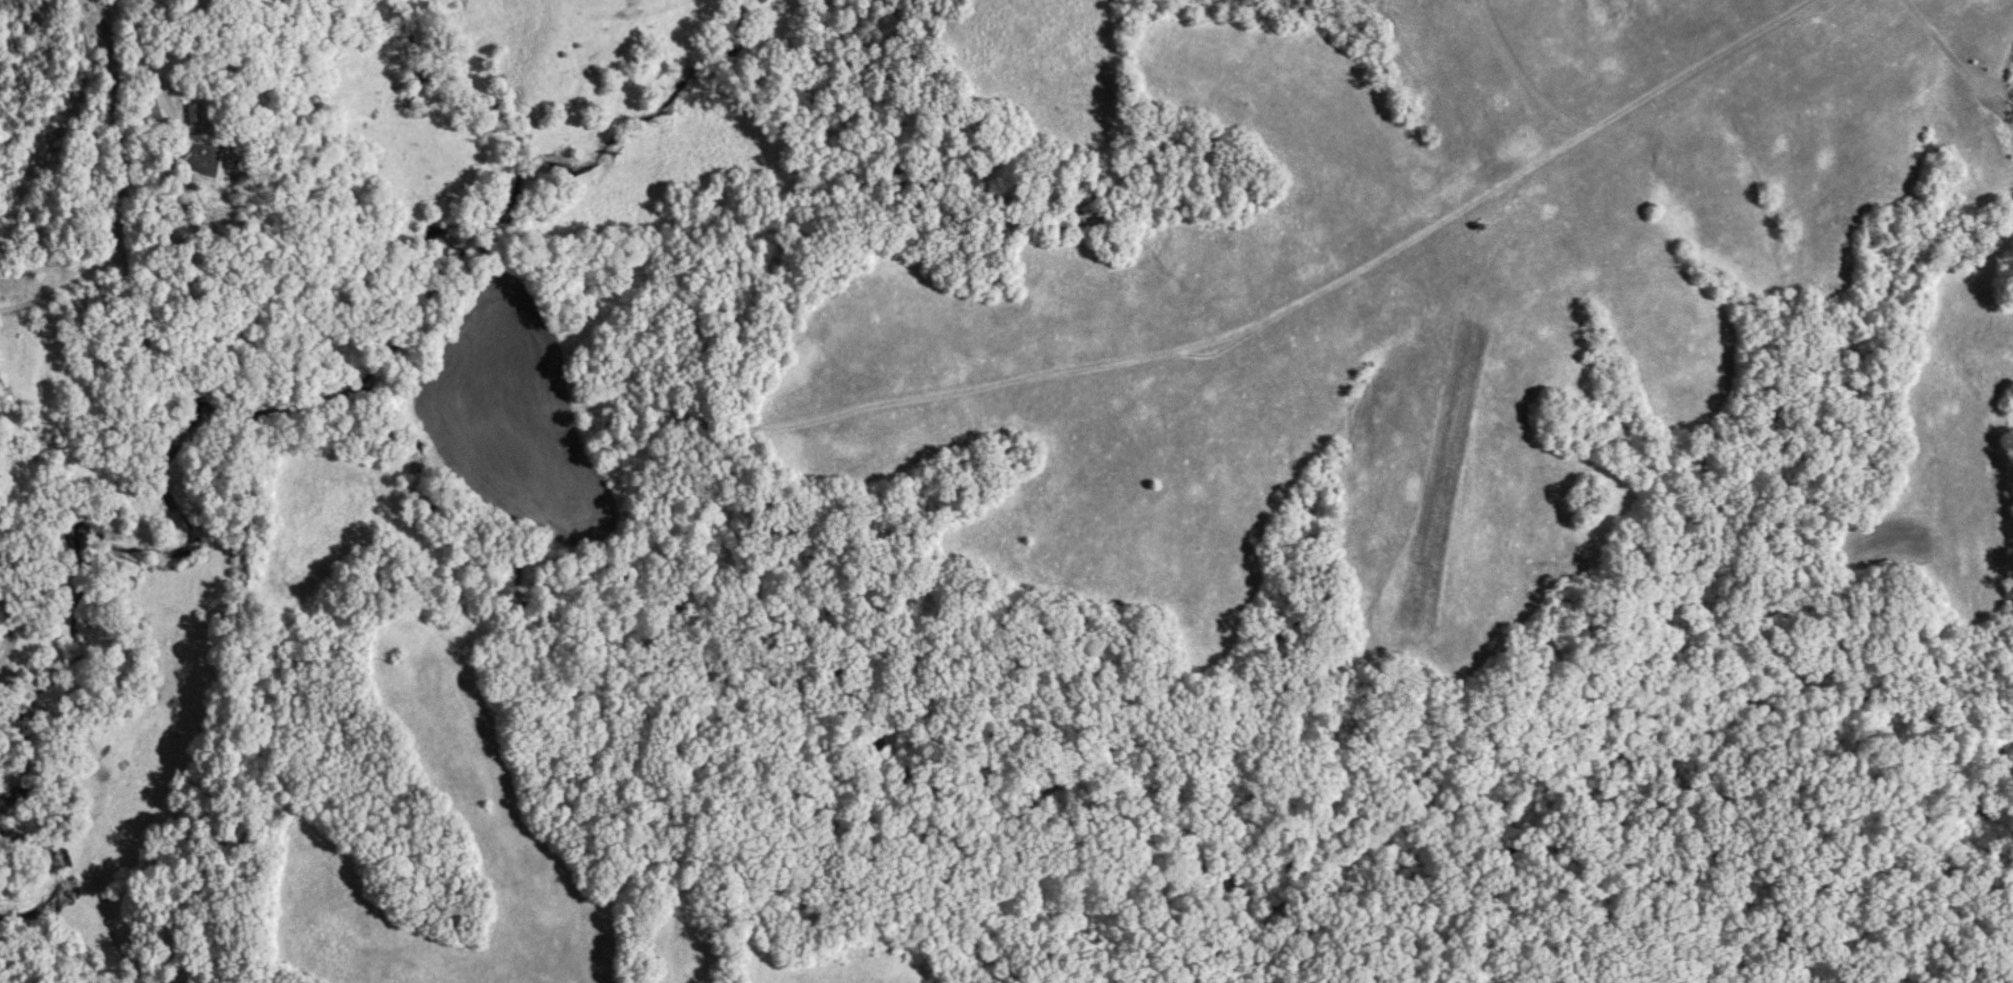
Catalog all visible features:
building: (155, 47)
building: (192, 113)
road: (167, 197)
road: (10, 628)

